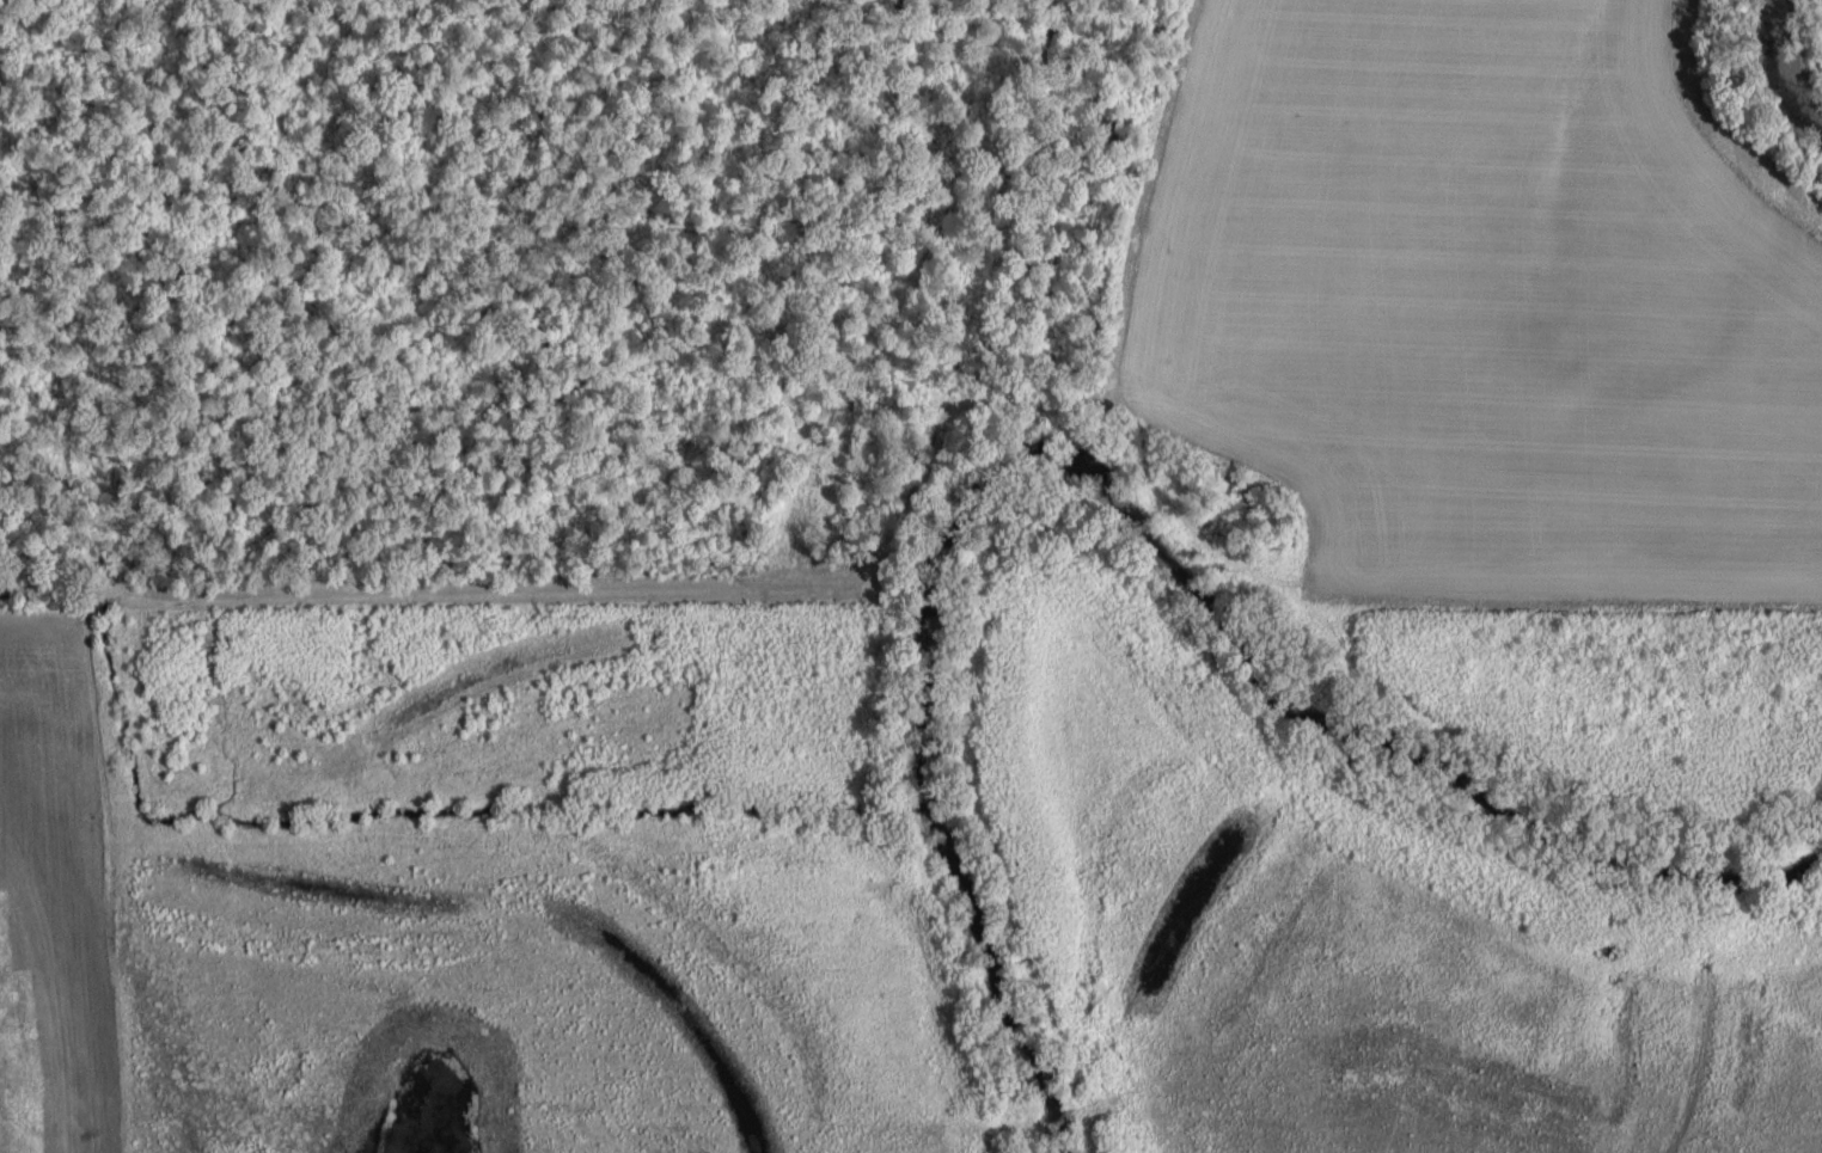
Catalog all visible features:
river: (1754, 82)
river: (1145, 511)

